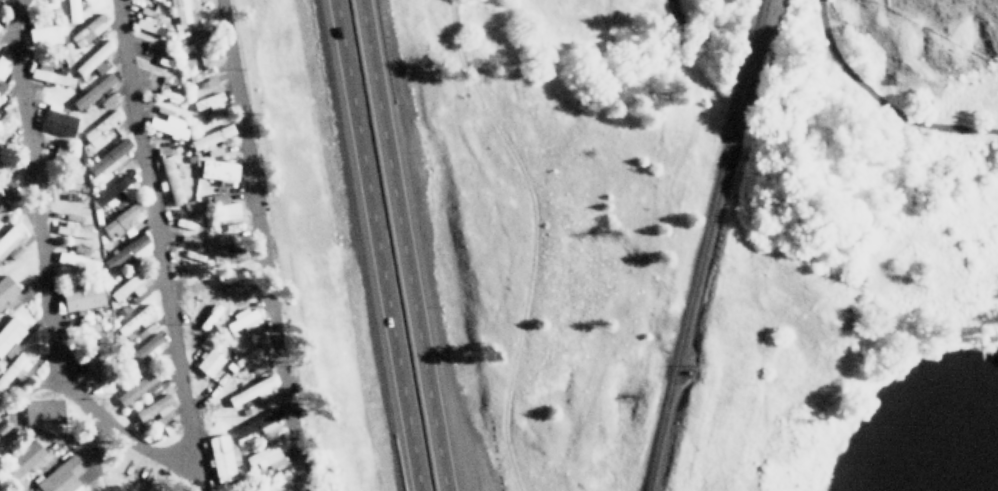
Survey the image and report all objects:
building: (157, 0)
building: (180, 10)
building: (72, 11)
building: (87, 31)
building: (43, 33)
road: (692, 35)
building: (193, 42)
building: (93, 57)
building: (3, 65)
building: (95, 70)
building: (51, 77)
building: (1, 85)
building: (93, 91)
building: (209, 102)
road: (879, 102)
building: (57, 121)
building: (168, 126)
building: (101, 127)
building: (211, 138)
building: (108, 159)
building: (218, 170)
building: (170, 181)
building: (128, 194)
building: (225, 207)
building: (122, 221)
building: (73, 231)
building: (9, 237)
railway: (704, 244)
road: (160, 245)
road: (262, 245)
road: (374, 245)
road: (403, 245)
building: (126, 253)
building: (217, 253)
building: (65, 258)
road: (43, 272)
building: (128, 288)
building: (6, 289)
building: (82, 297)
building: (244, 320)
building: (135, 321)
building: (10, 333)
building: (145, 348)
building: (93, 354)
building: (209, 363)
building: (138, 388)
building: (253, 392)
building: (153, 409)
building: (42, 412)
building: (256, 423)
building: (5, 435)
building: (266, 454)
building: (222, 457)
building: (24, 460)
building: (61, 477)
building: (284, 478)

